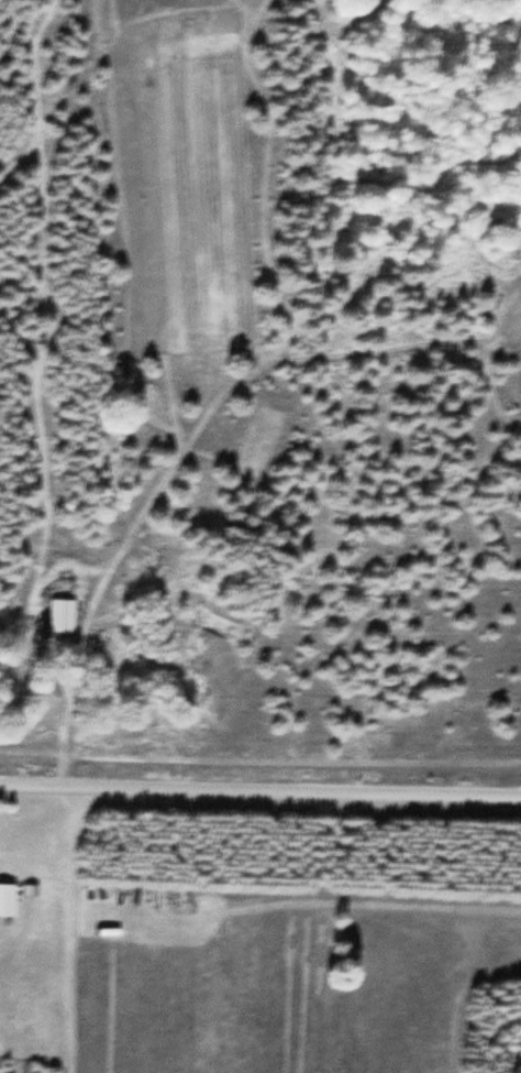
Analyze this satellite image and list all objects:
building: (62, 614)
building: (146, 741)
road: (260, 788)
building: (7, 899)

